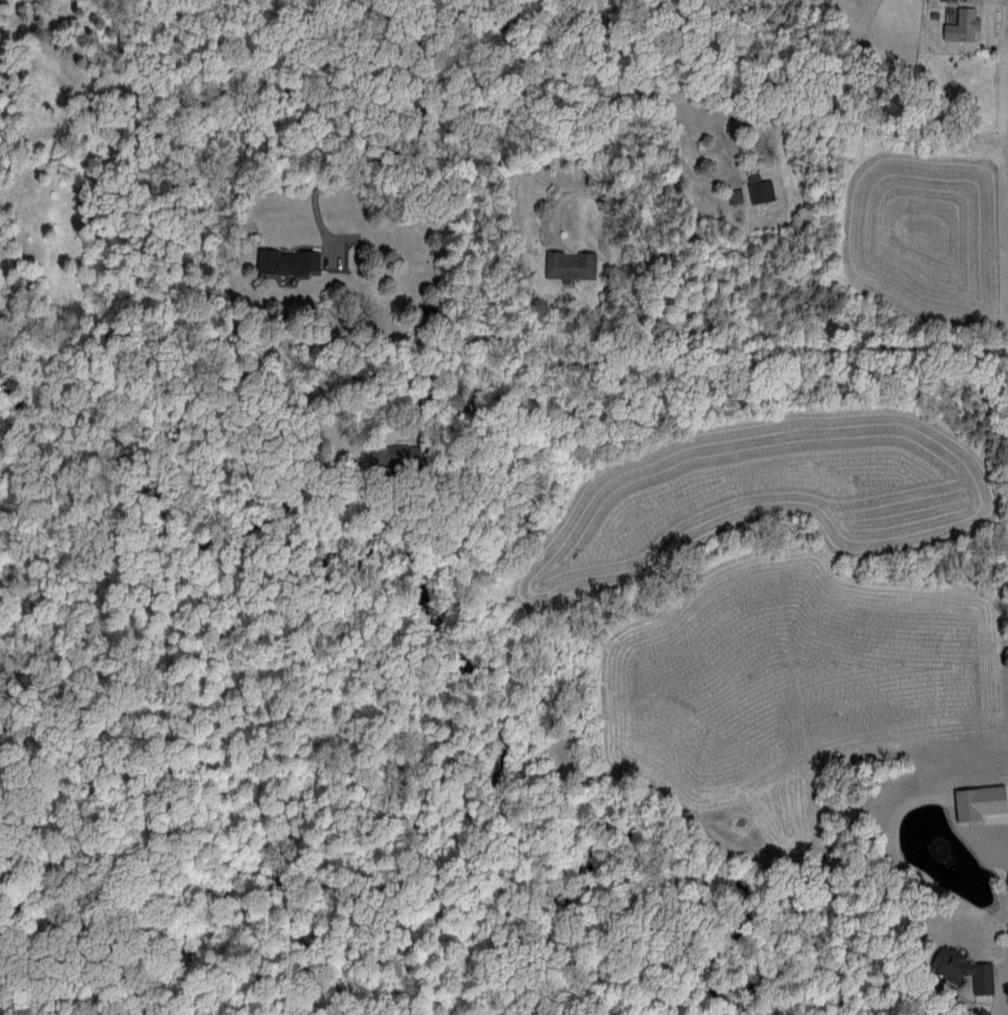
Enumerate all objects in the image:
building: (950, 0)
building: (958, 26)
road: (660, 78)
road: (737, 137)
road: (346, 141)
building: (757, 188)
road: (599, 192)
building: (733, 195)
building: (284, 260)
building: (567, 264)
road: (691, 350)
building: (381, 452)
building: (974, 800)
building: (961, 969)
road: (999, 995)

